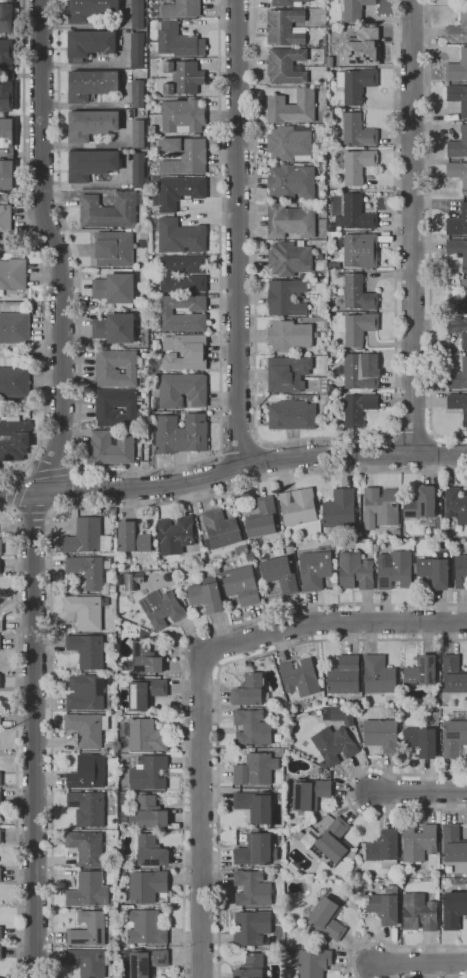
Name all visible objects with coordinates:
building: (464, 0)
building: (287, 2)
building: (90, 9)
building: (182, 9)
building: (355, 9)
building: (138, 14)
building: (6, 17)
building: (322, 20)
building: (285, 27)
building: (457, 30)
building: (178, 40)
building: (90, 43)
building: (360, 47)
building: (137, 50)
building: (286, 66)
building: (457, 68)
building: (10, 75)
building: (183, 77)
building: (91, 84)
building: (356, 84)
building: (324, 89)
building: (138, 94)
building: (458, 96)
building: (292, 107)
building: (183, 115)
building: (91, 124)
building: (358, 131)
building: (138, 133)
building: (197, 135)
building: (151, 138)
building: (324, 139)
building: (289, 142)
building: (458, 144)
building: (319, 146)
building: (10, 153)
building: (184, 155)
building: (91, 164)
building: (358, 165)
building: (139, 170)
building: (458, 173)
building: (292, 182)
building: (177, 192)
building: (111, 210)
building: (149, 212)
building: (355, 213)
building: (5, 220)
building: (290, 220)
building: (458, 223)
building: (330, 225)
road: (412, 227)
road: (431, 232)
building: (142, 234)
road: (238, 234)
building: (179, 236)
road: (34, 240)
building: (114, 249)
building: (361, 250)
building: (458, 250)
building: (290, 258)
building: (332, 273)
building: (13, 274)
building: (166, 274)
building: (115, 288)
building: (356, 294)
building: (286, 297)
building: (24, 298)
building: (459, 299)
building: (195, 314)
building: (357, 327)
building: (14, 328)
building: (115, 328)
building: (459, 329)
building: (290, 335)
building: (185, 352)
building: (105, 368)
building: (340, 370)
building: (361, 371)
building: (288, 373)
building: (458, 377)
building: (15, 382)
building: (181, 391)
building: (458, 404)
building: (105, 408)
building: (357, 408)
building: (293, 413)
road: (413, 428)
building: (181, 434)
building: (14, 438)
road: (323, 438)
building: (112, 447)
road: (252, 466)
road: (75, 468)
road: (140, 469)
road: (25, 473)
road: (49, 473)
road: (9, 474)
road: (41, 486)
road: (20, 491)
road: (19, 492)
building: (422, 504)
building: (456, 504)
building: (298, 506)
building: (381, 507)
road: (32, 508)
road: (54, 509)
building: (339, 510)
road: (13, 511)
building: (263, 518)
building: (220, 529)
building: (176, 535)
road: (52, 536)
building: (85, 536)
building: (133, 538)
building: (1, 546)
building: (242, 549)
building: (180, 570)
building: (315, 570)
building: (395, 570)
building: (88, 571)
building: (355, 571)
building: (434, 571)
building: (461, 572)
building: (280, 574)
building: (133, 580)
building: (242, 585)
building: (112, 589)
building: (206, 595)
building: (162, 608)
building: (86, 611)
building: (1, 624)
building: (0, 643)
building: (88, 650)
building: (146, 658)
road: (181, 663)
building: (422, 671)
building: (321, 673)
building: (453, 674)
building: (345, 676)
building: (379, 676)
building: (300, 678)
road: (200, 681)
building: (0, 684)
building: (249, 690)
building: (86, 692)
building: (144, 692)
road: (218, 697)
building: (0, 721)
building: (252, 728)
building: (87, 729)
building: (381, 734)
building: (144, 735)
building: (455, 737)
road: (16, 739)
building: (422, 741)
building: (334, 745)
building: (111, 747)
building: (256, 769)
building: (320, 770)
building: (88, 772)
building: (150, 773)
building: (0, 779)
road: (420, 791)
road: (347, 792)
building: (310, 793)
building: (0, 798)
building: (122, 798)
building: (255, 805)
building: (88, 808)
building: (148, 814)
building: (300, 835)
building: (1, 836)
building: (332, 842)
building: (419, 842)
building: (453, 844)
building: (86, 847)
building: (385, 849)
building: (256, 850)
building: (150, 852)
building: (120, 864)
building: (121, 873)
building: (355, 874)
building: (1, 875)
building: (146, 886)
building: (252, 888)
building: (88, 890)
building: (384, 908)
building: (454, 909)
building: (420, 912)
building: (327, 918)
building: (251, 927)
building: (146, 928)
building: (89, 929)
building: (1, 933)
road: (392, 944)
building: (1, 952)
building: (90, 961)
building: (147, 962)
building: (311, 962)
road: (420, 964)
building: (251, 967)

